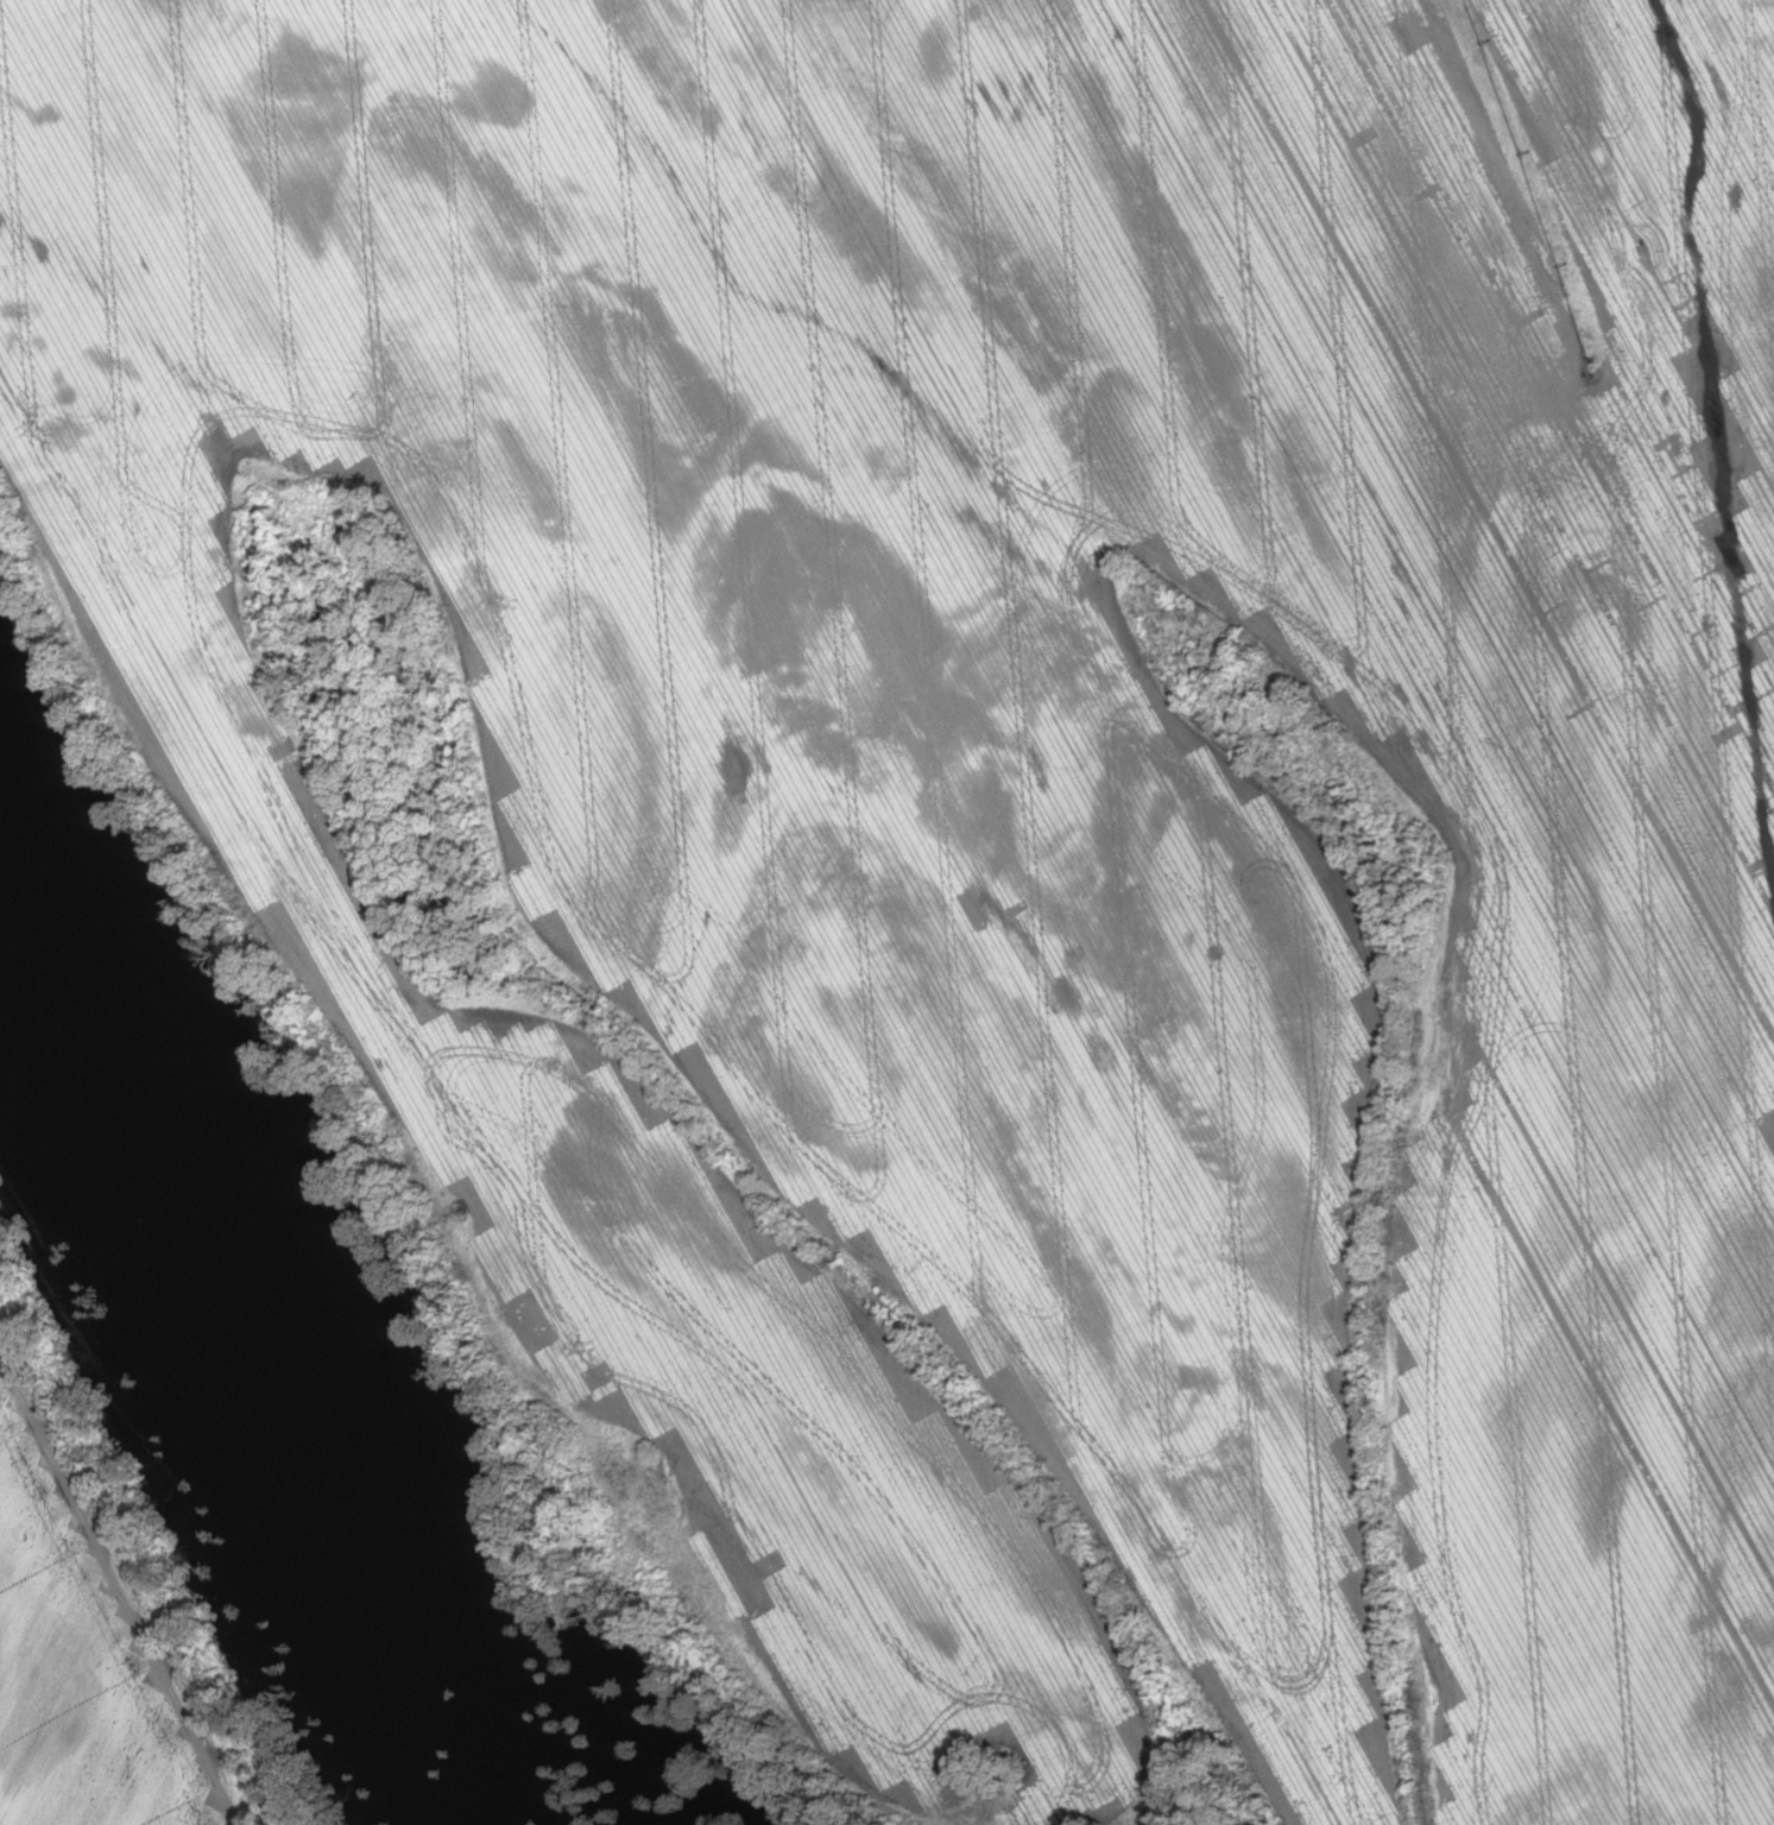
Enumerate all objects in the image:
road: (208, 852)

